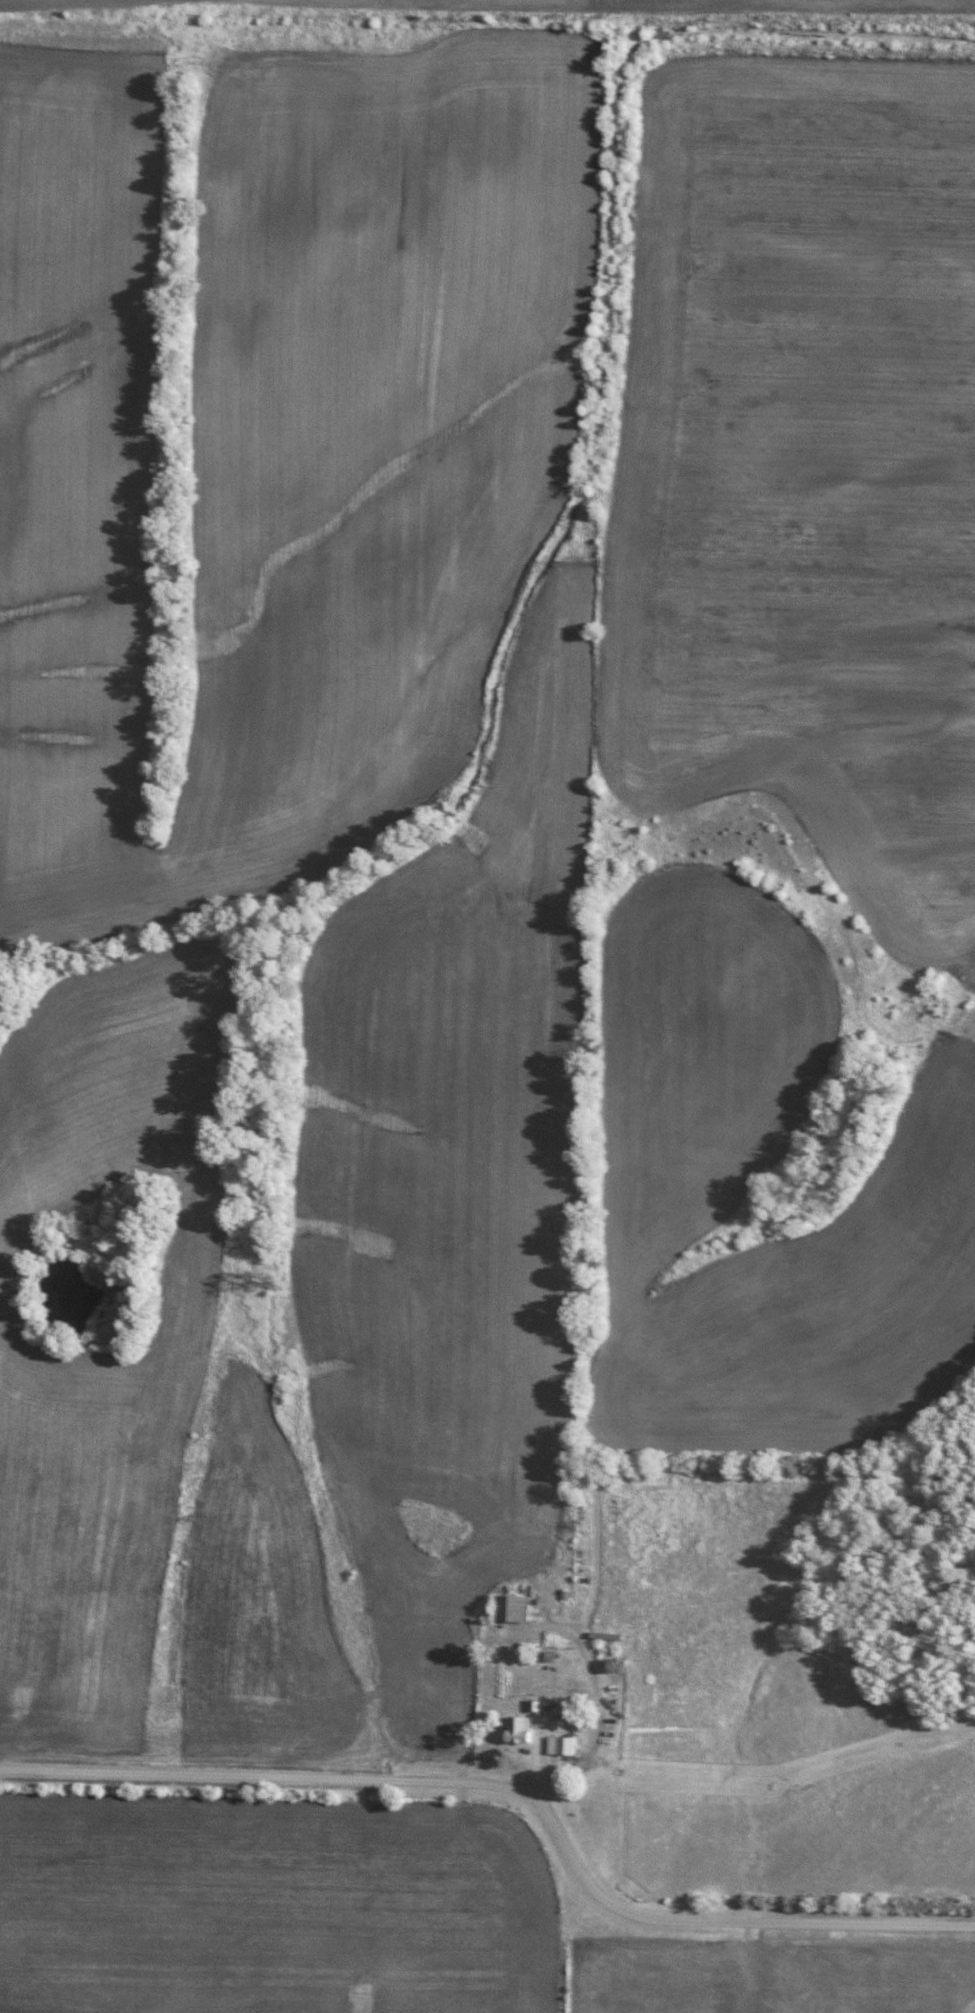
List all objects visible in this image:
building: (512, 1608)
building: (613, 1666)
building: (521, 1729)
building: (563, 1745)
road: (270, 1777)
road: (743, 1890)

